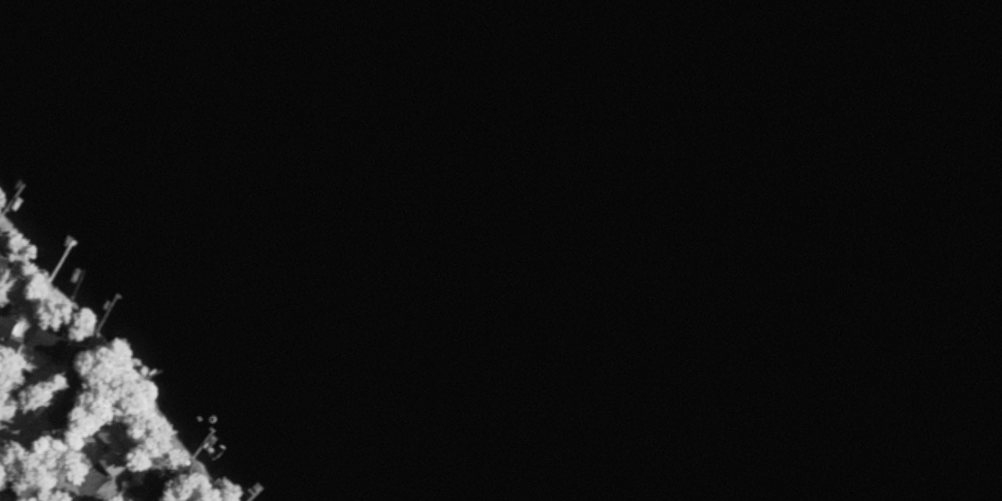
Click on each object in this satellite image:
building: (5, 270)
building: (8, 322)
building: (48, 343)
building: (61, 416)
road: (20, 422)
building: (117, 450)
building: (148, 487)
building: (100, 500)

